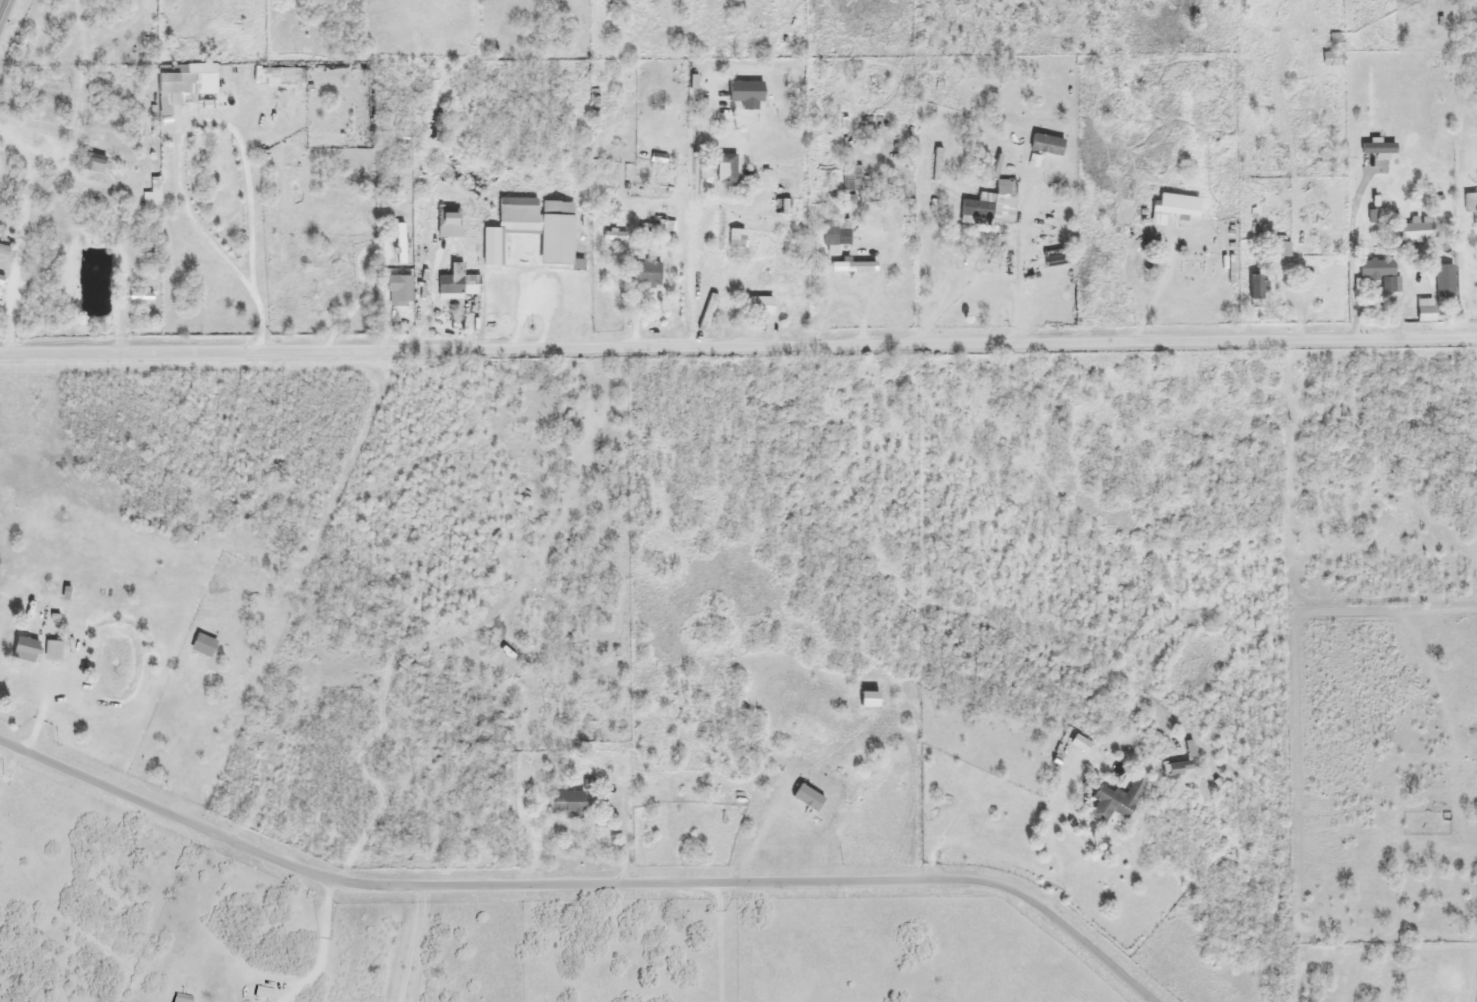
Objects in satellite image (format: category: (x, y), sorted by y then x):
building: (531, 0)
road: (2, 5)
building: (1331, 59)
building: (183, 84)
building: (734, 93)
building: (1043, 145)
building: (92, 163)
building: (936, 165)
building: (726, 169)
building: (851, 179)
road: (864, 188)
building: (152, 196)
building: (1469, 204)
building: (992, 205)
building: (780, 207)
building: (448, 223)
building: (533, 229)
building: (1417, 229)
road: (1188, 231)
building: (835, 233)
building: (736, 238)
building: (1165, 239)
building: (400, 243)
building: (1281, 249)
building: (4, 250)
building: (1379, 273)
building: (646, 274)
building: (1, 281)
building: (1444, 282)
building: (457, 284)
building: (1255, 287)
building: (400, 289)
building: (760, 306)
building: (1426, 314)
road: (738, 345)
building: (203, 646)
building: (25, 650)
building: (52, 651)
building: (1174, 769)
building: (807, 798)
building: (1115, 801)
building: (566, 803)
road: (1050, 856)
road: (582, 885)

